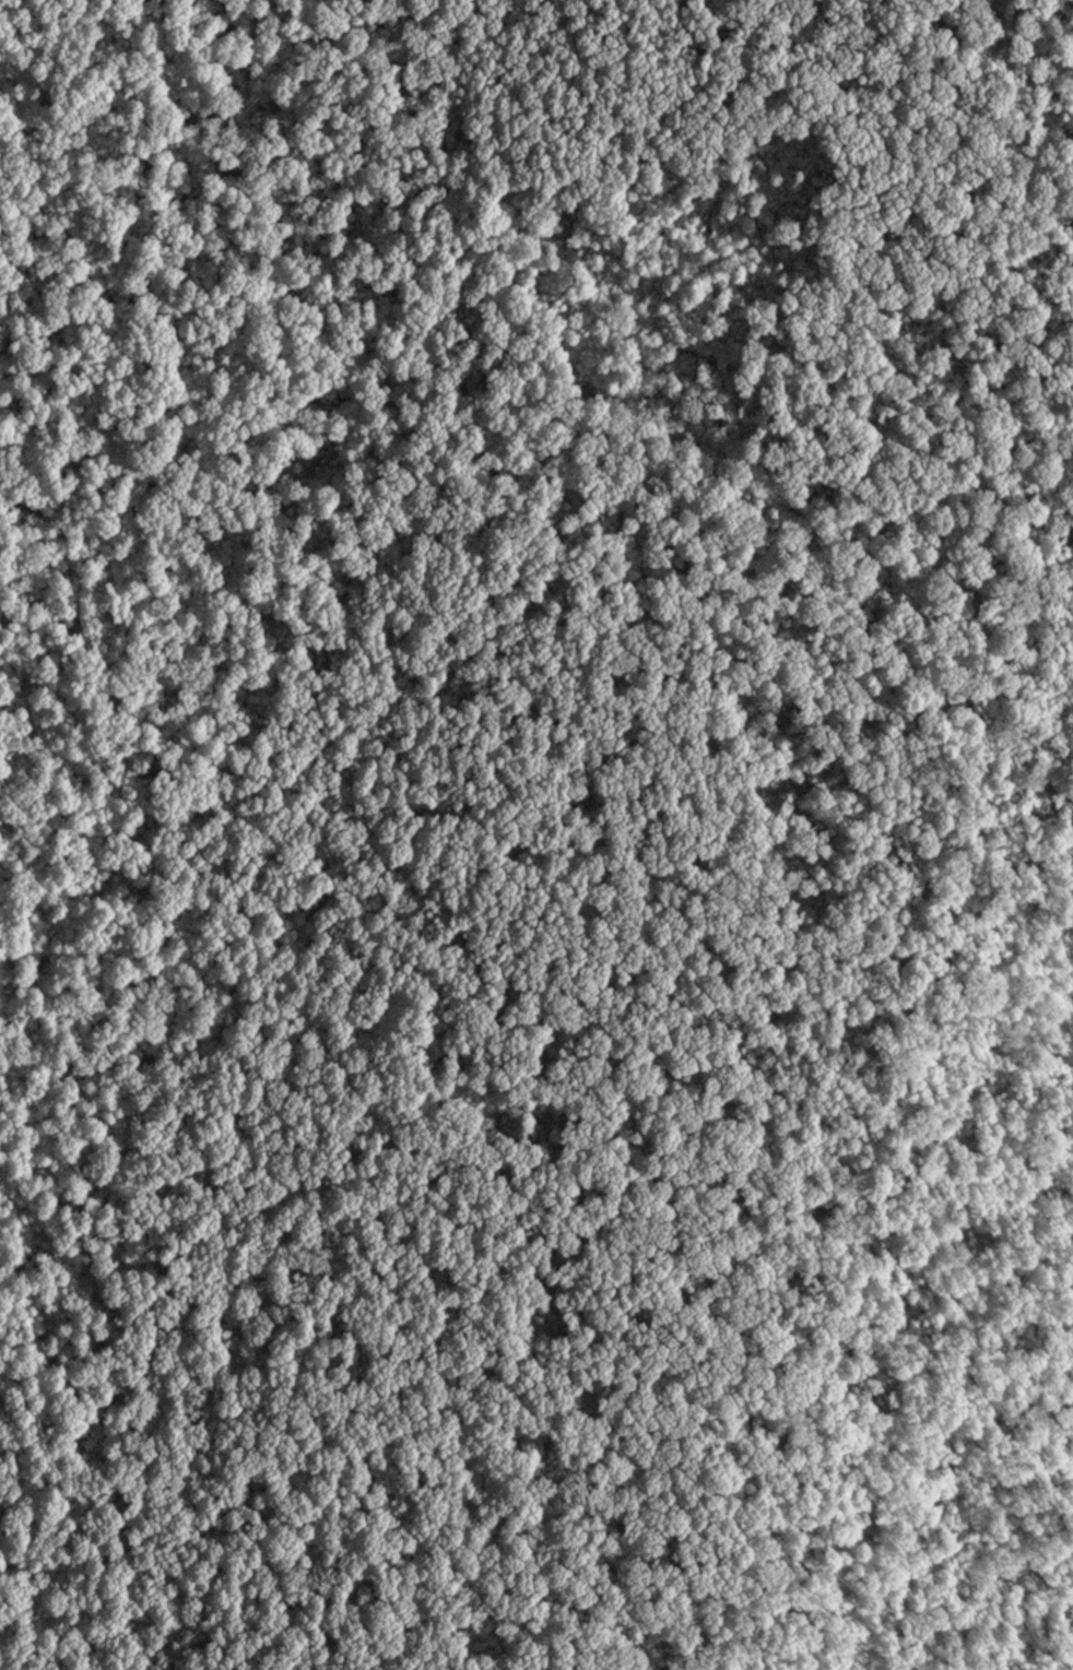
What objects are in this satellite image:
road: (1037, 1298)
road: (984, 1505)
road: (942, 1639)

